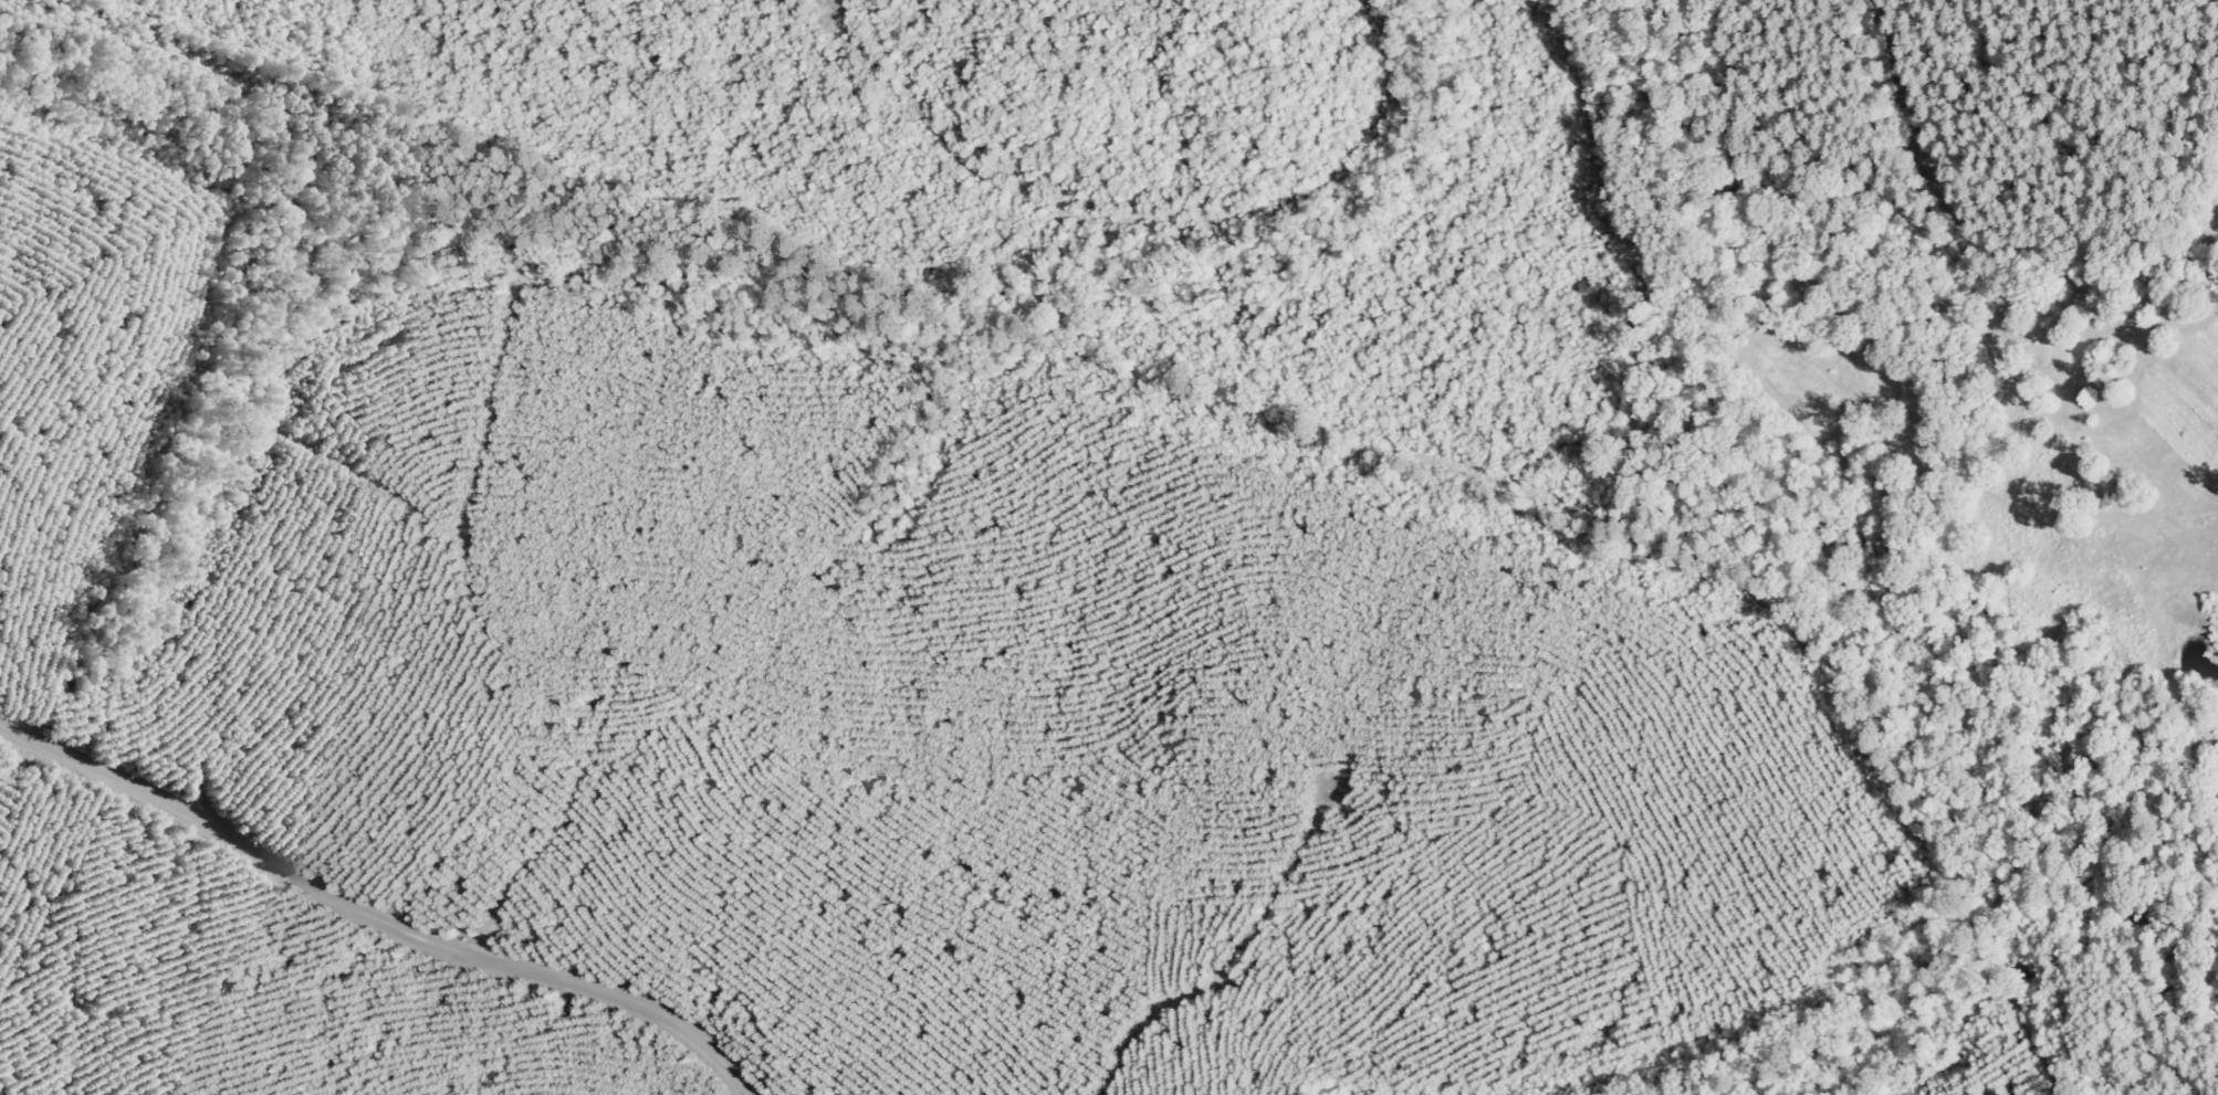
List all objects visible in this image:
road: (358, 907)

